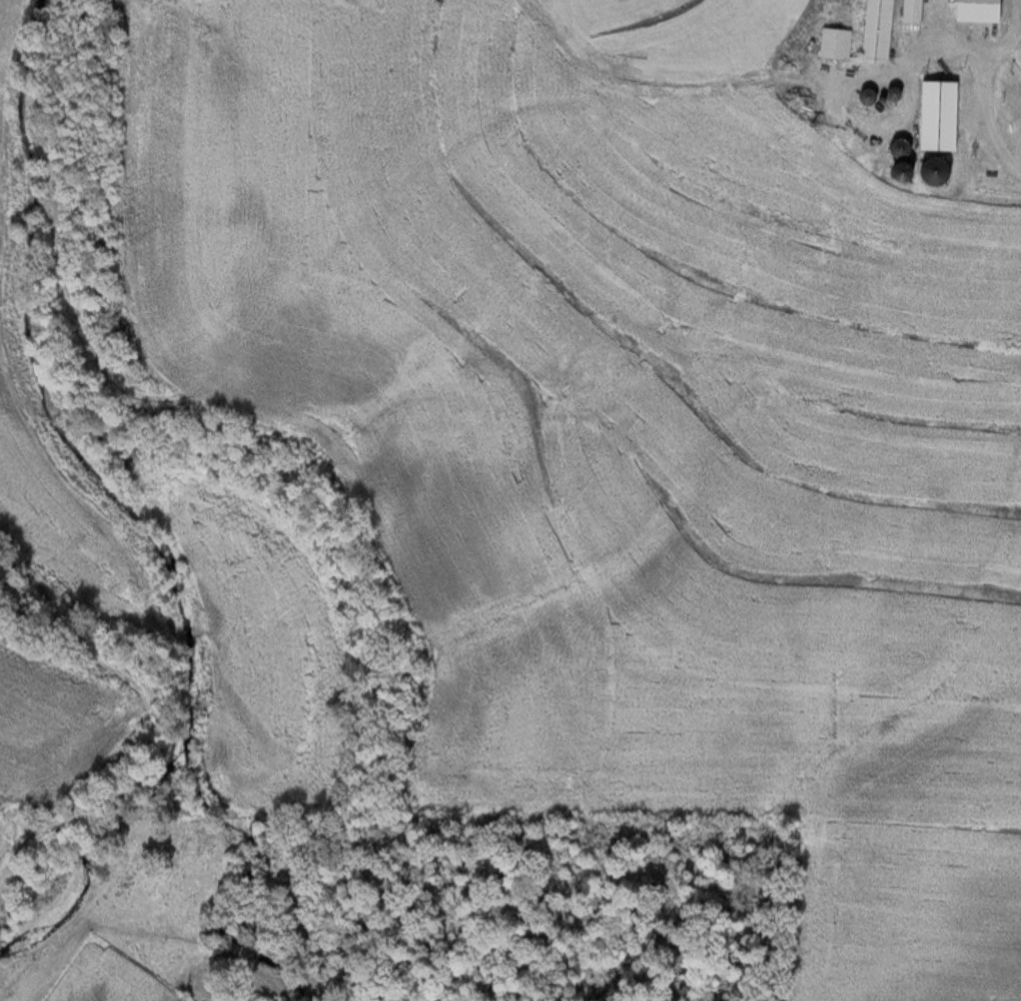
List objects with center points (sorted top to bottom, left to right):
building: (974, 11)
building: (910, 13)
building: (875, 30)
building: (832, 45)
building: (936, 116)
road: (988, 122)
building: (926, 170)

